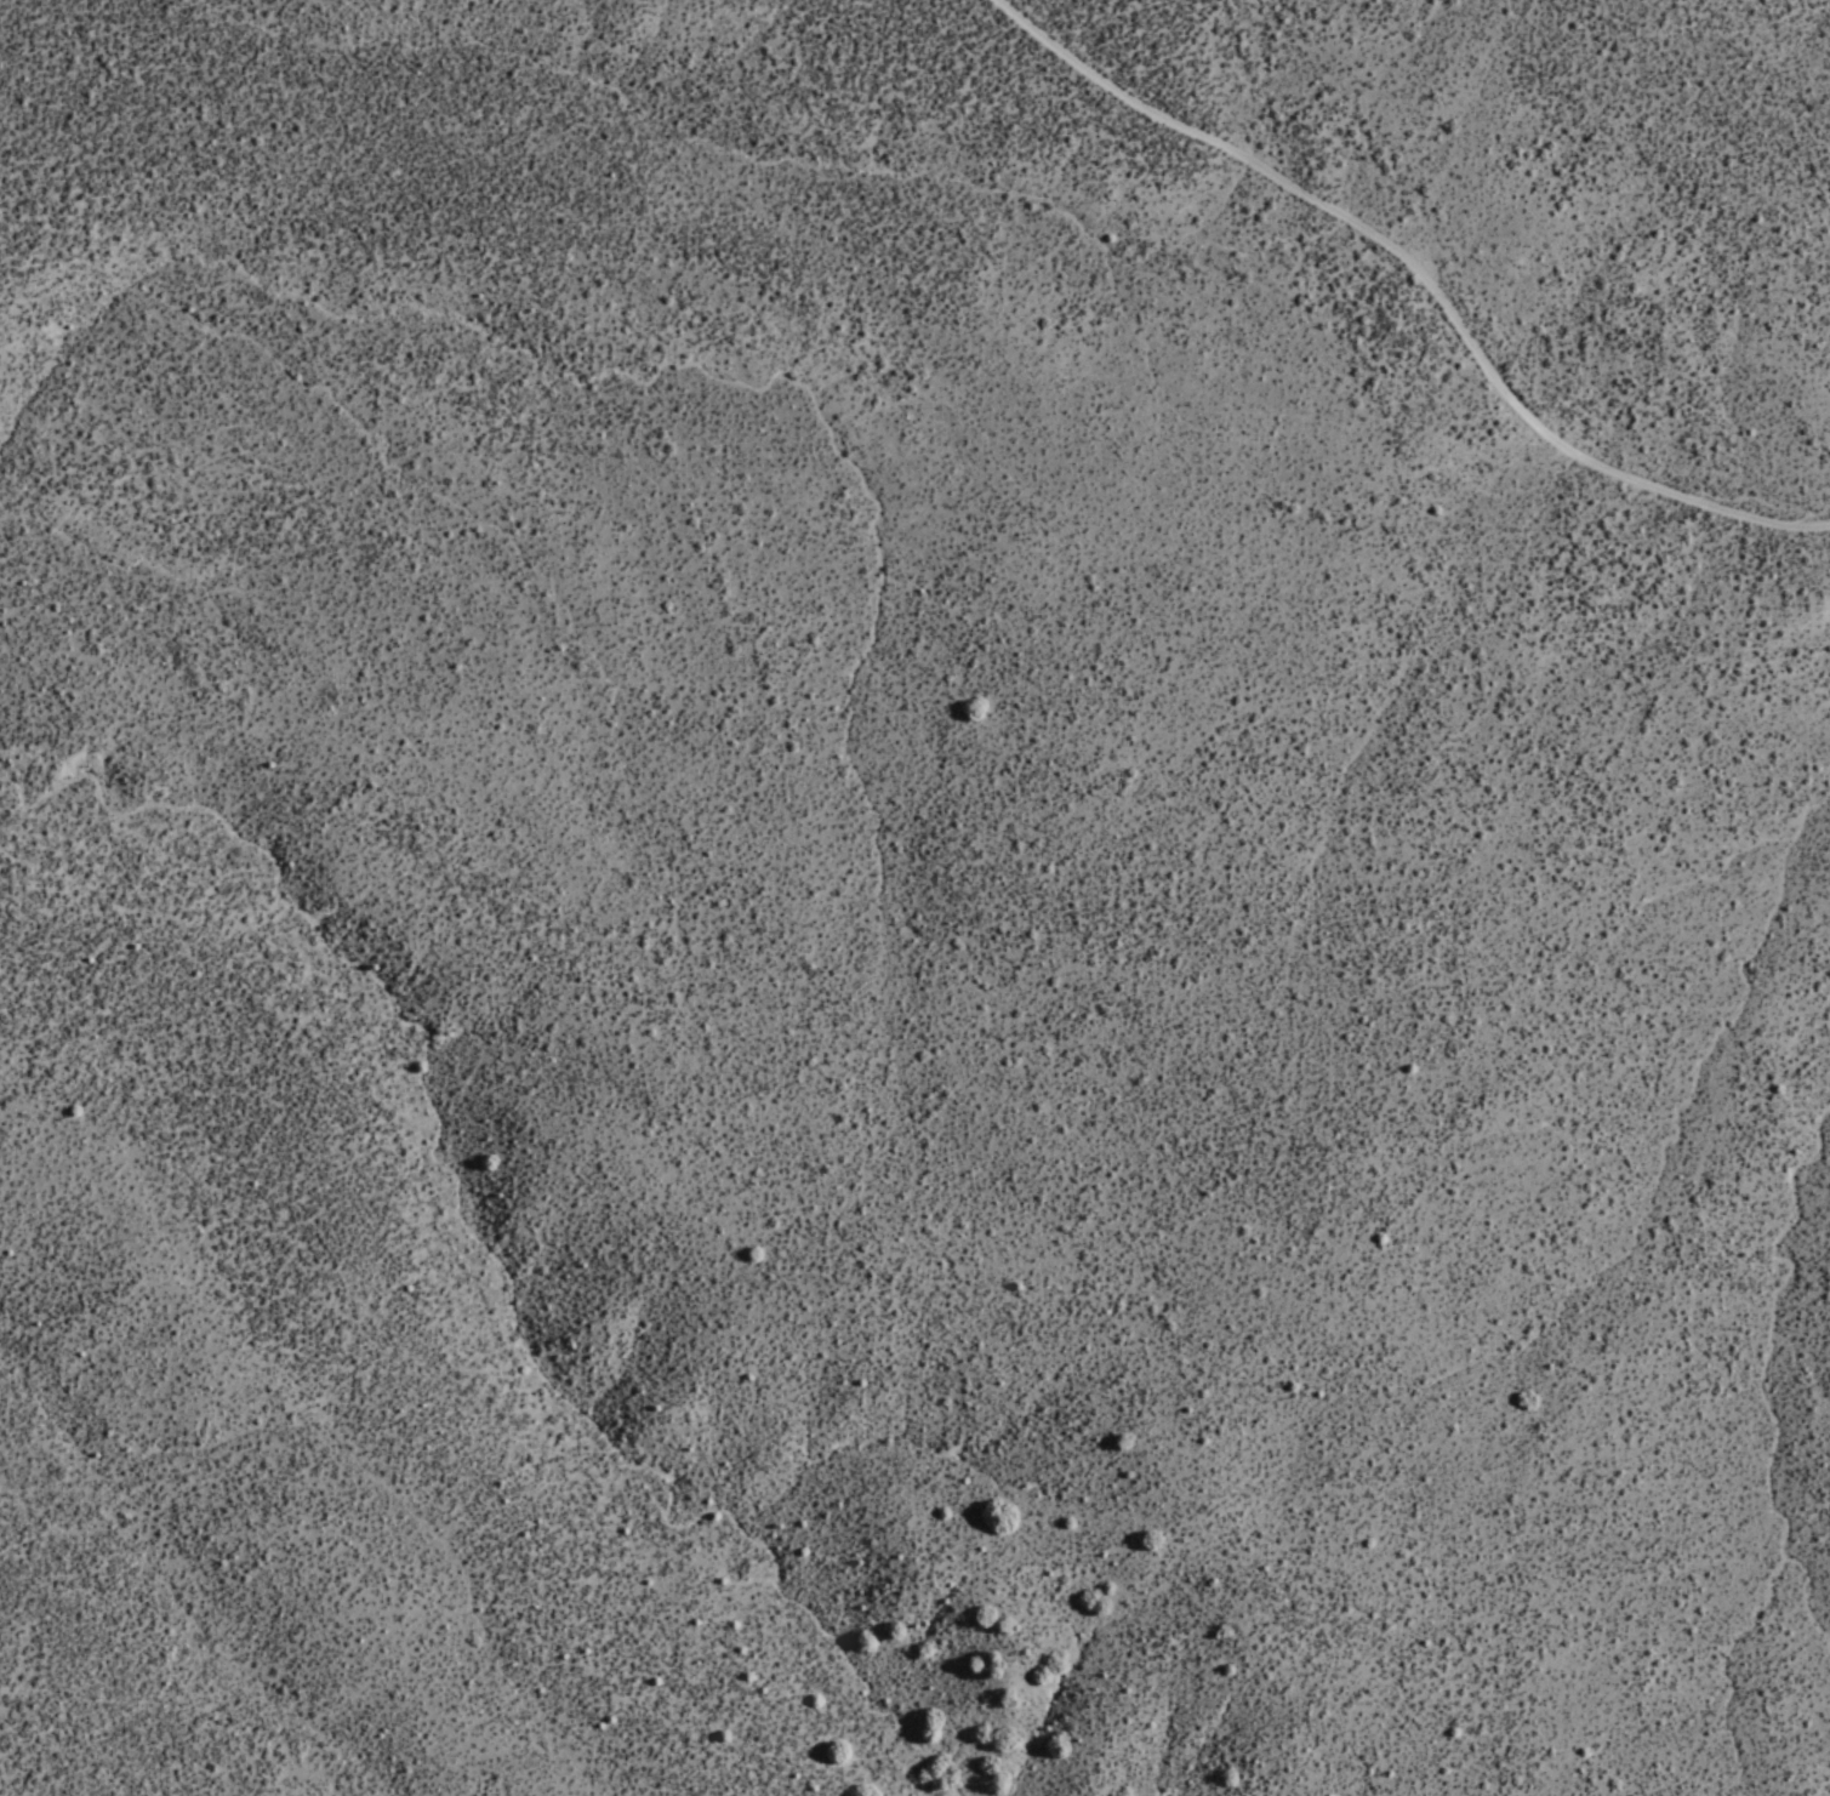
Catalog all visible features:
road: (1431, 267)

